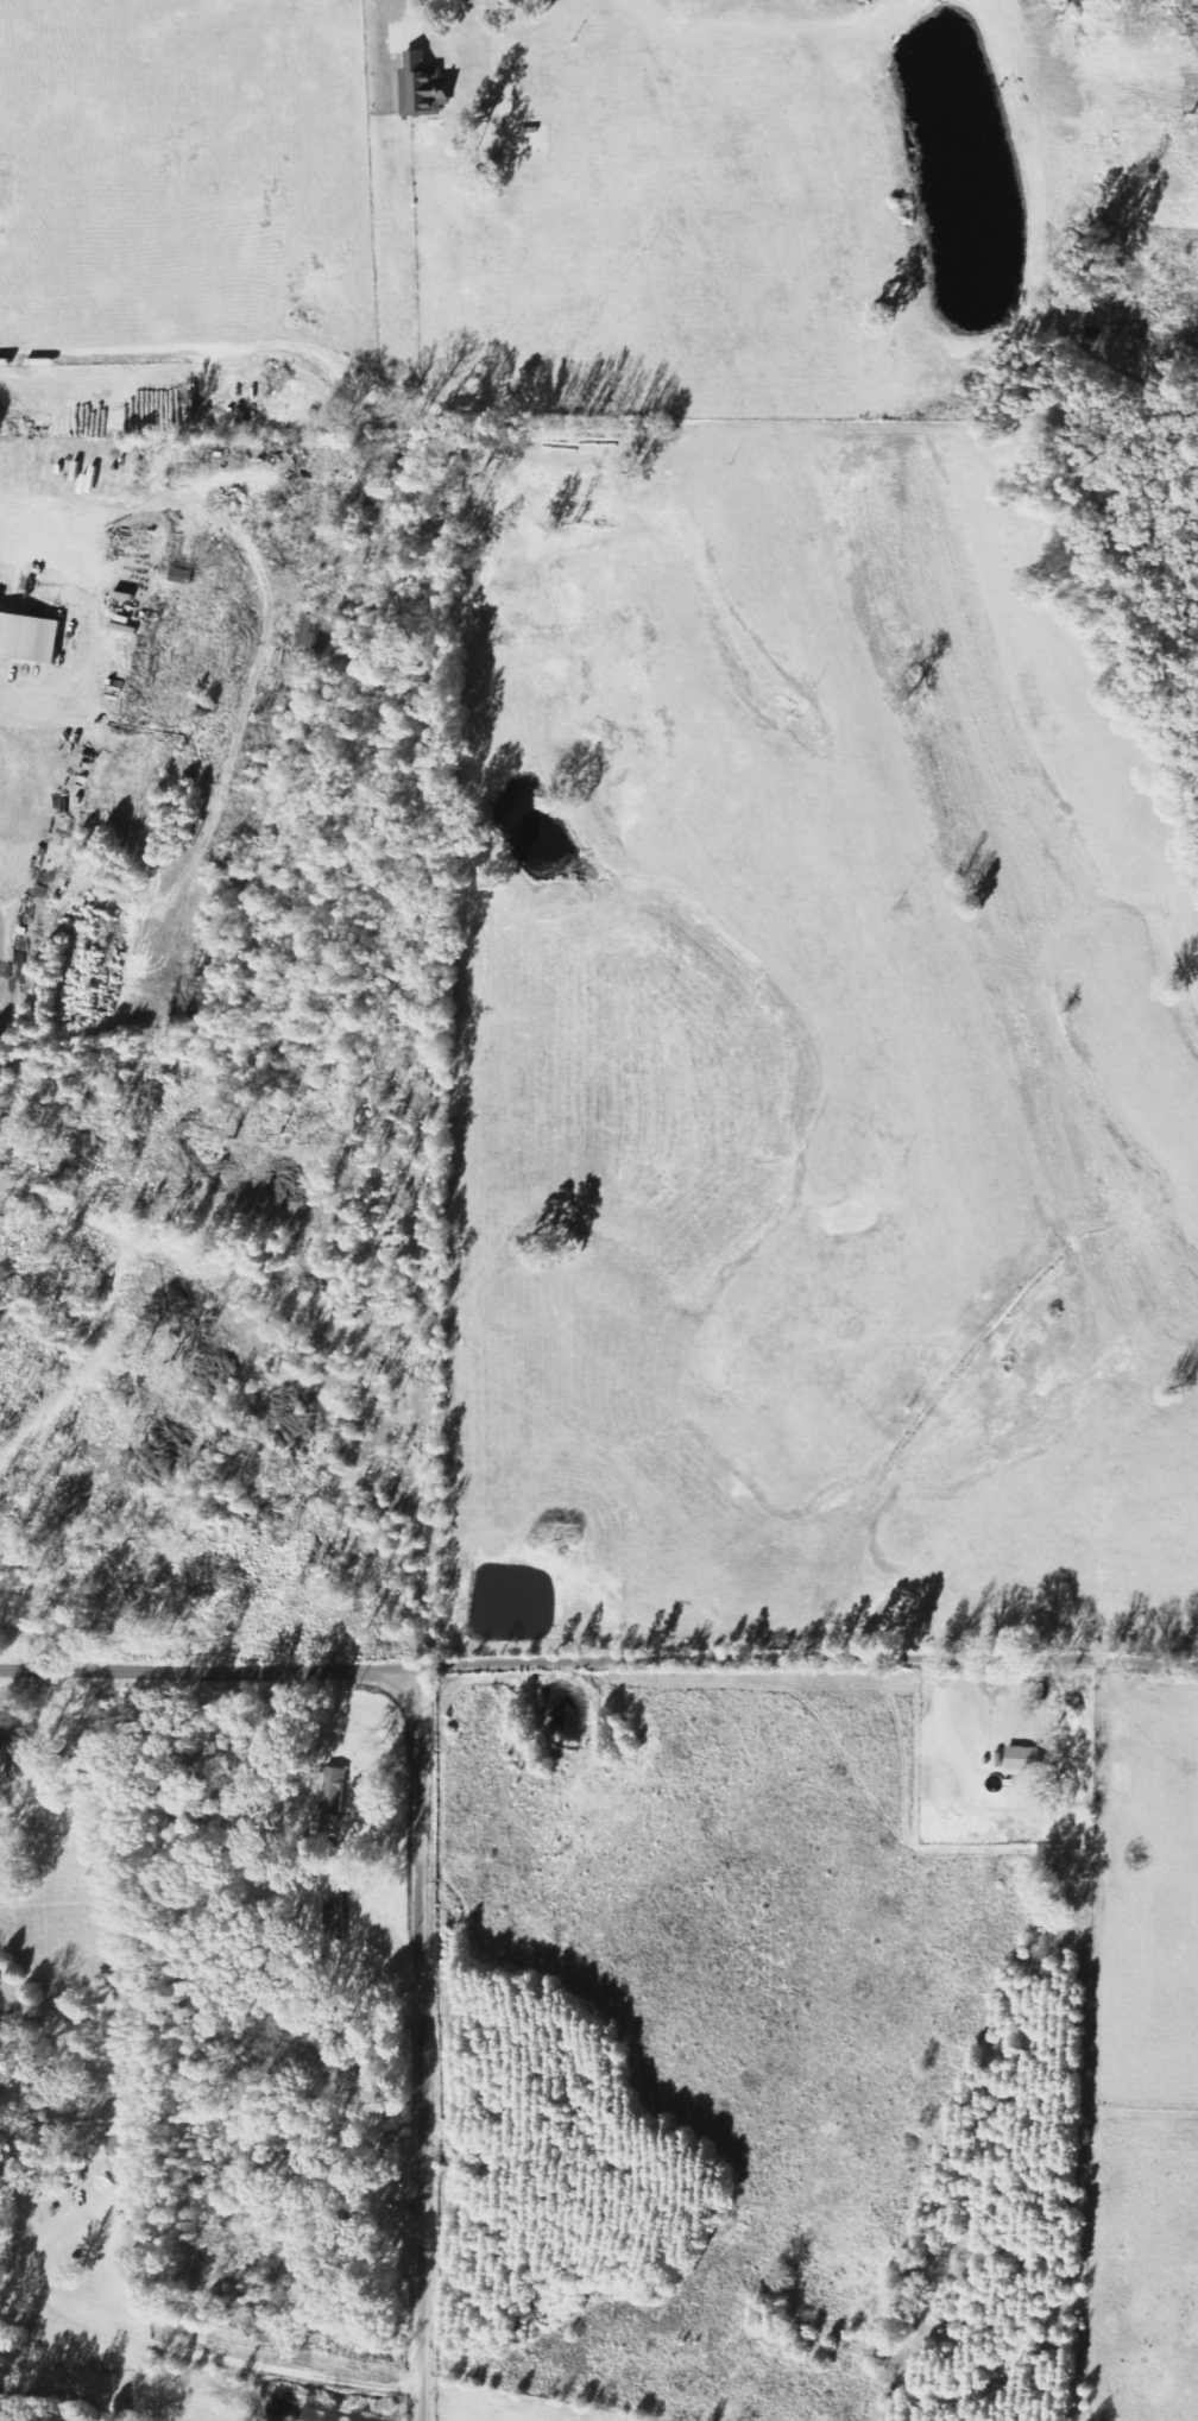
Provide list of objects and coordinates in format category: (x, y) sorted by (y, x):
building: (422, 87)
road: (97, 626)
building: (29, 636)
road: (805, 1663)
road: (204, 1667)
building: (15, 1757)
building: (1022, 1758)
building: (329, 1788)
building: (328, 1918)
road: (414, 2044)

